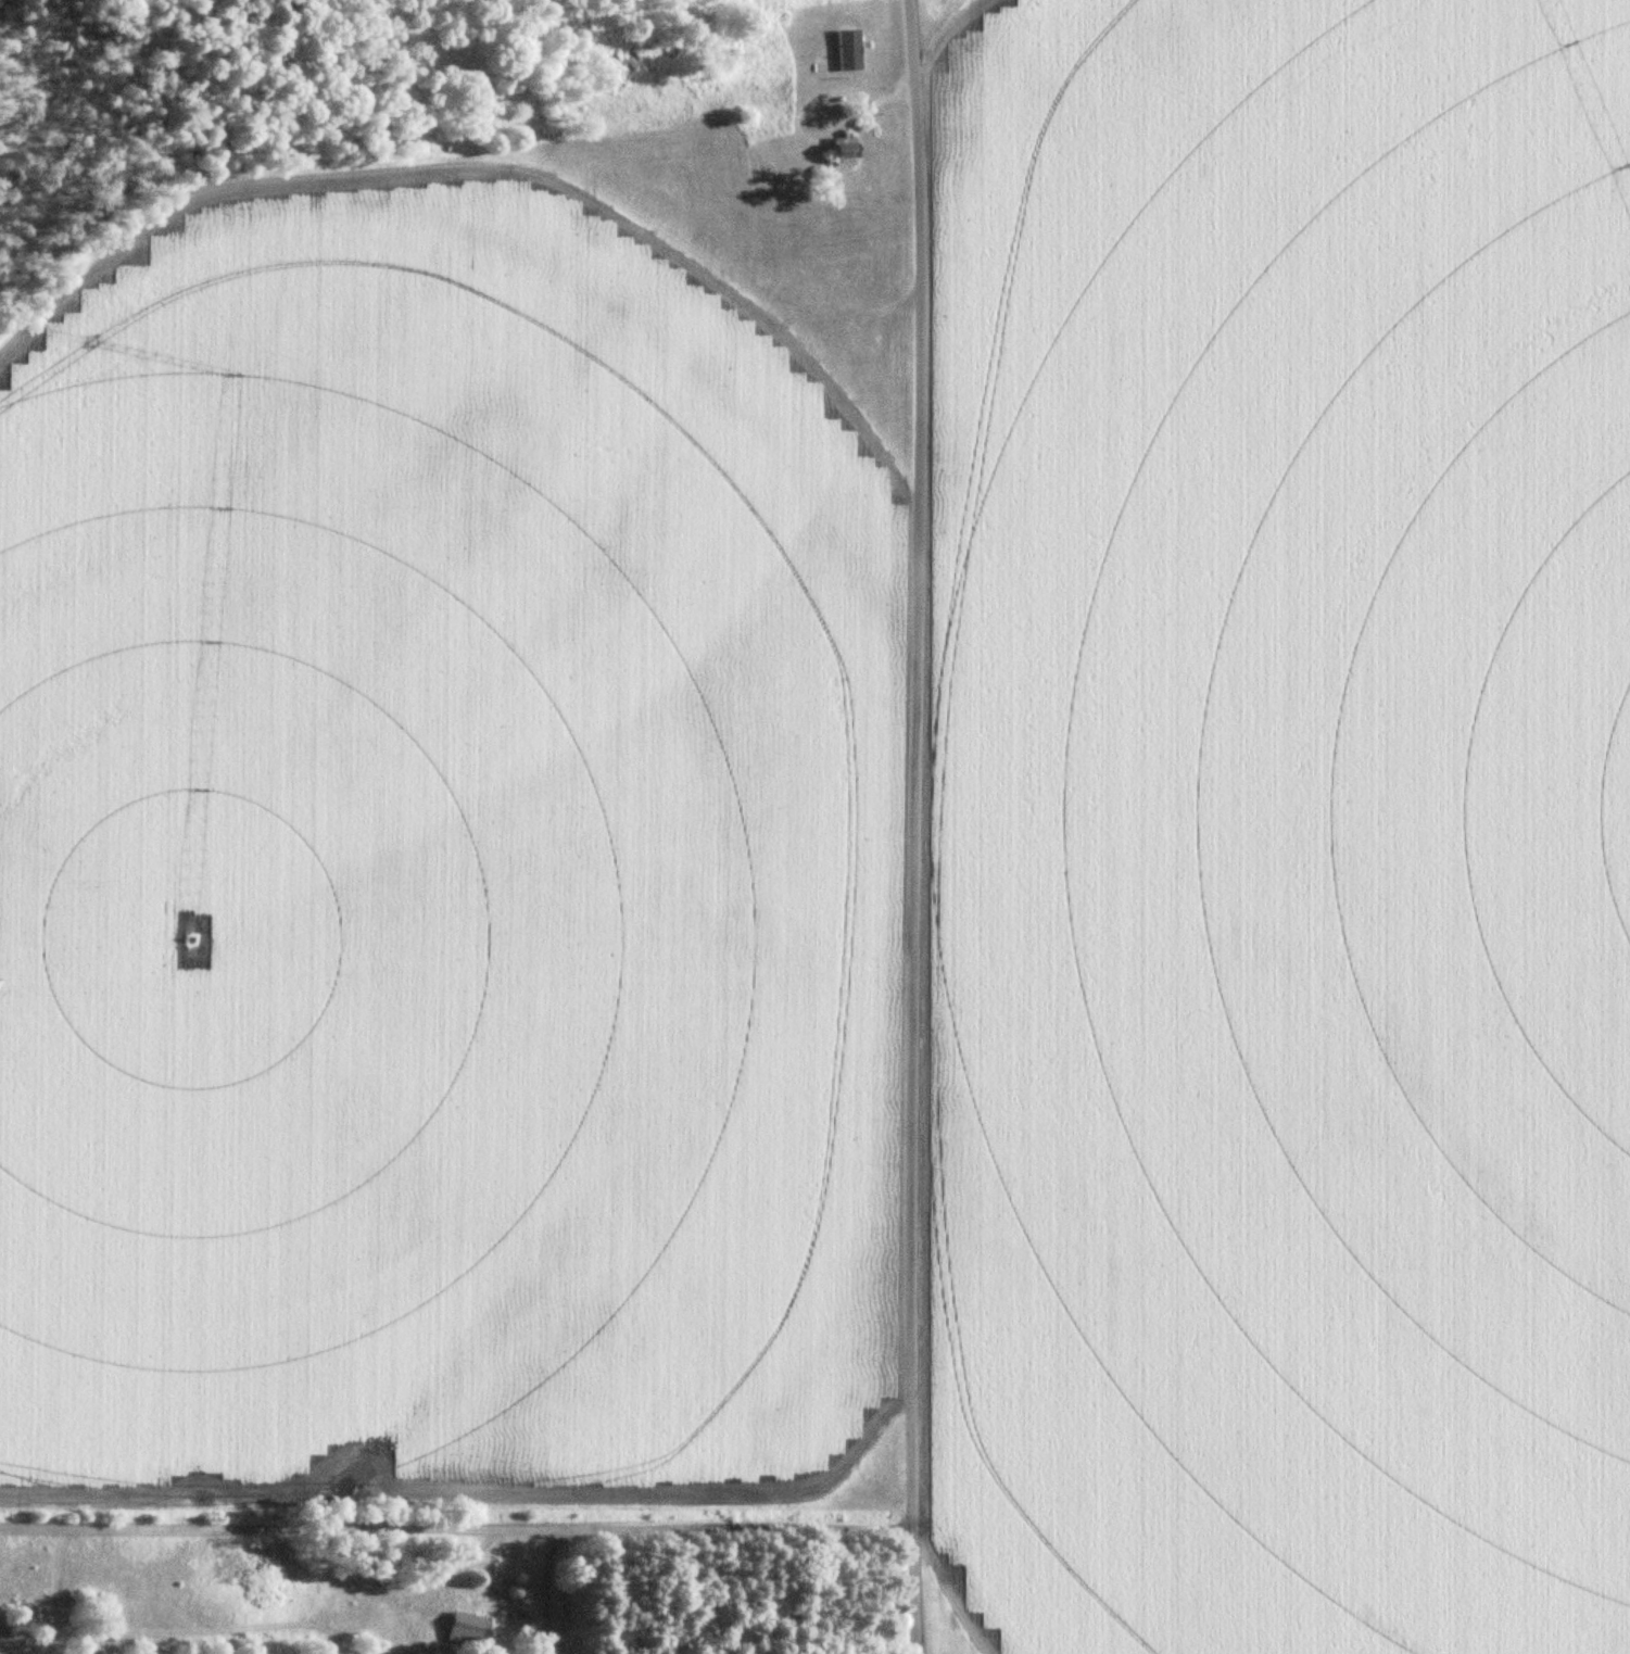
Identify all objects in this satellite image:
building: (846, 49)
road: (804, 123)
building: (837, 153)
road: (908, 826)

